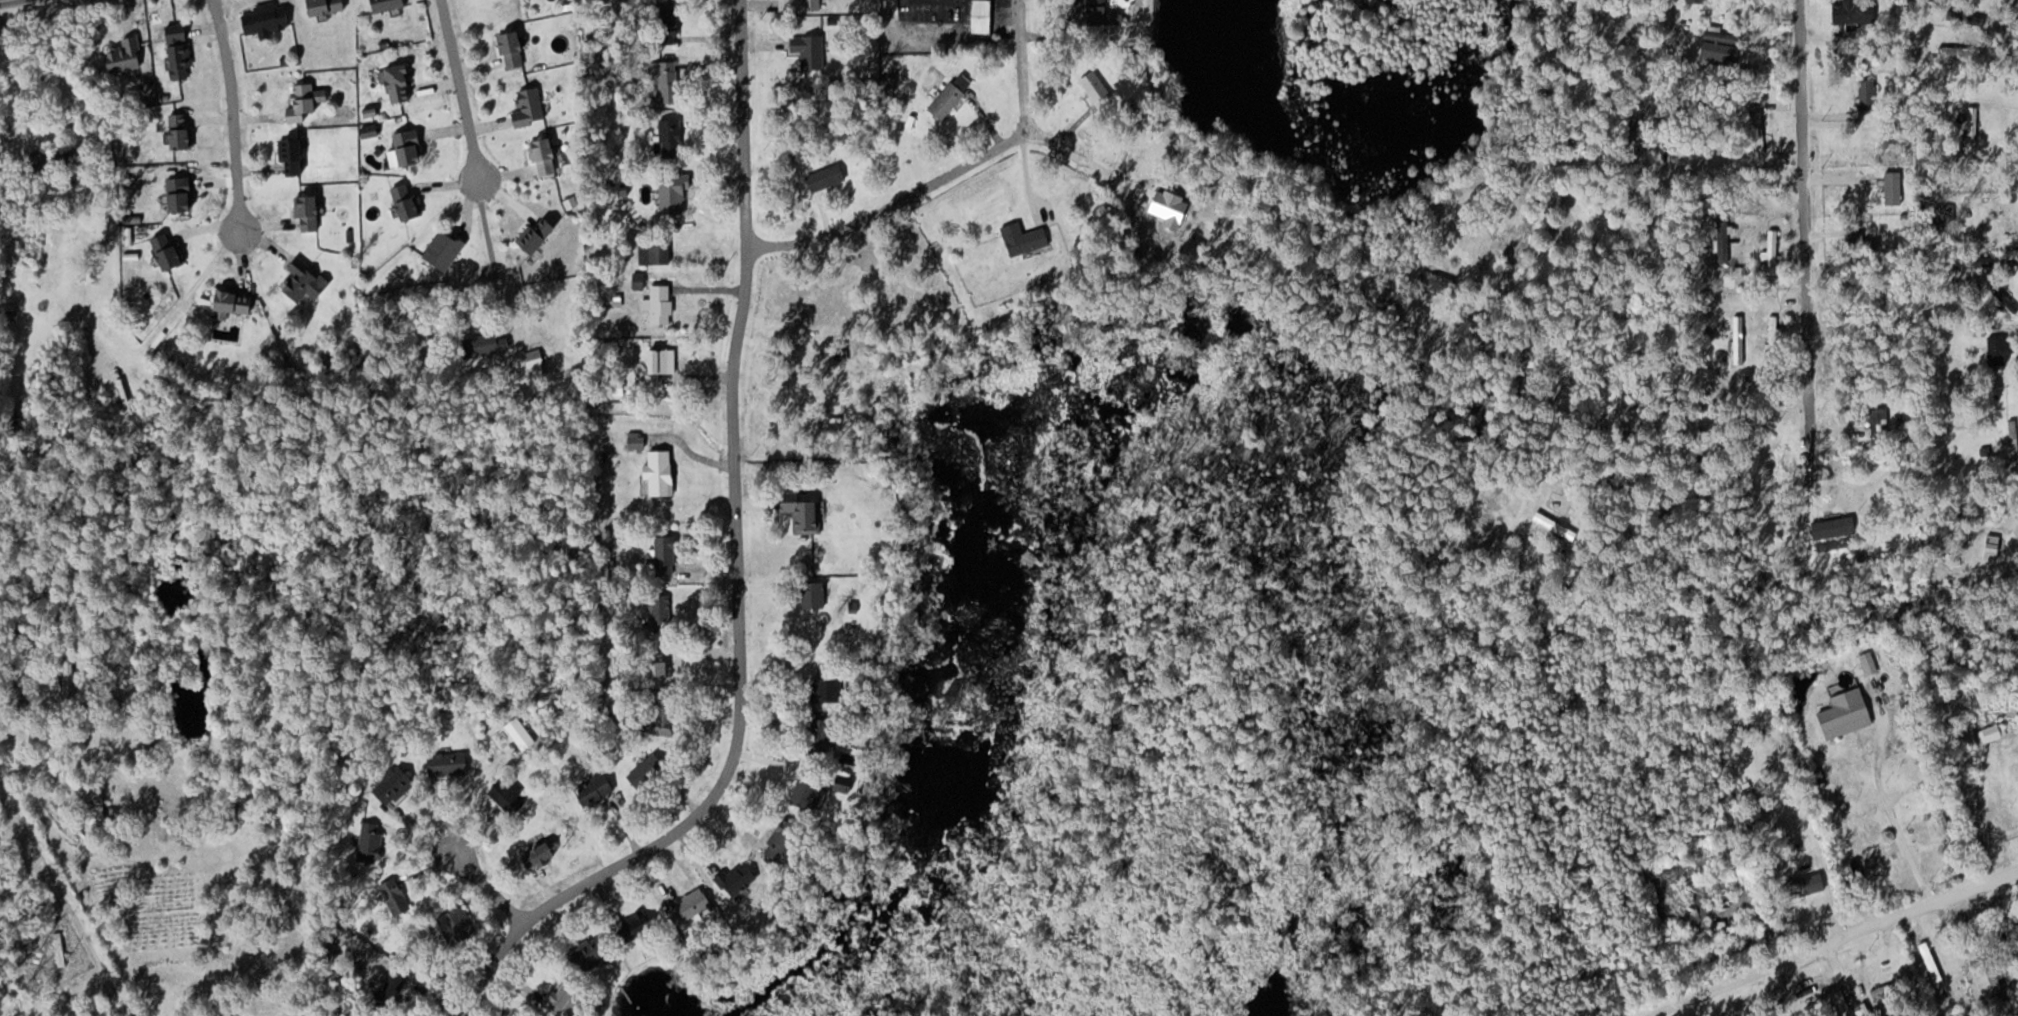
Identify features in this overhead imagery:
building: (1695, 0)
building: (389, 4)
building: (809, 4)
building: (328, 6)
building: (1856, 11)
building: (1107, 14)
building: (268, 17)
building: (982, 17)
building: (669, 24)
building: (1944, 27)
building: (1723, 46)
building: (515, 48)
building: (180, 50)
building: (812, 50)
building: (127, 54)
building: (400, 81)
building: (671, 81)
building: (1097, 86)
road: (461, 90)
building: (952, 95)
road: (1024, 99)
building: (307, 101)
building: (1867, 104)
building: (530, 107)
road: (231, 112)
building: (1973, 126)
building: (183, 130)
building: (673, 137)
building: (408, 148)
building: (546, 155)
building: (68, 156)
building: (297, 156)
road: (1724, 171)
building: (828, 176)
building: (1895, 186)
building: (680, 192)
building: (182, 193)
building: (408, 201)
road: (893, 202)
building: (311, 212)
road: (1802, 221)
building: (541, 232)
building: (1722, 236)
building: (1026, 237)
building: (1477, 238)
building: (446, 248)
building: (661, 249)
building: (1773, 250)
building: (169, 252)
building: (307, 279)
building: (1445, 283)
building: (235, 302)
building: (663, 303)
building: (1774, 336)
building: (484, 344)
building: (2002, 350)
building: (537, 363)
building: (661, 363)
road: (1649, 407)
building: (1881, 422)
building: (2013, 435)
building: (637, 442)
building: (659, 473)
building: (805, 513)
building: (1556, 525)
building: (1836, 527)
building: (667, 556)
road: (737, 570)
building: (815, 593)
building: (662, 613)
building: (663, 668)
building: (69, 675)
building: (828, 688)
building: (1848, 713)
building: (667, 718)
building: (1908, 730)
building: (520, 731)
building: (823, 737)
building: (148, 752)
building: (450, 764)
building: (2015, 767)
building: (648, 770)
building: (1929, 778)
building: (396, 785)
building: (598, 789)
building: (810, 792)
building: (509, 795)
building: (100, 811)
building: (1948, 832)
building: (783, 838)
building: (372, 840)
building: (542, 856)
road: (57, 869)
building: (738, 878)
building: (1813, 881)
road: (487, 887)
building: (396, 896)
building: (693, 904)
building: (642, 923)
building: (461, 927)
building: (2016, 930)
road: (1831, 940)
building: (592, 952)
building: (62, 956)
building: (1935, 970)
building: (1993, 977)
building: (1888, 988)
building: (393, 989)
building: (566, 999)

